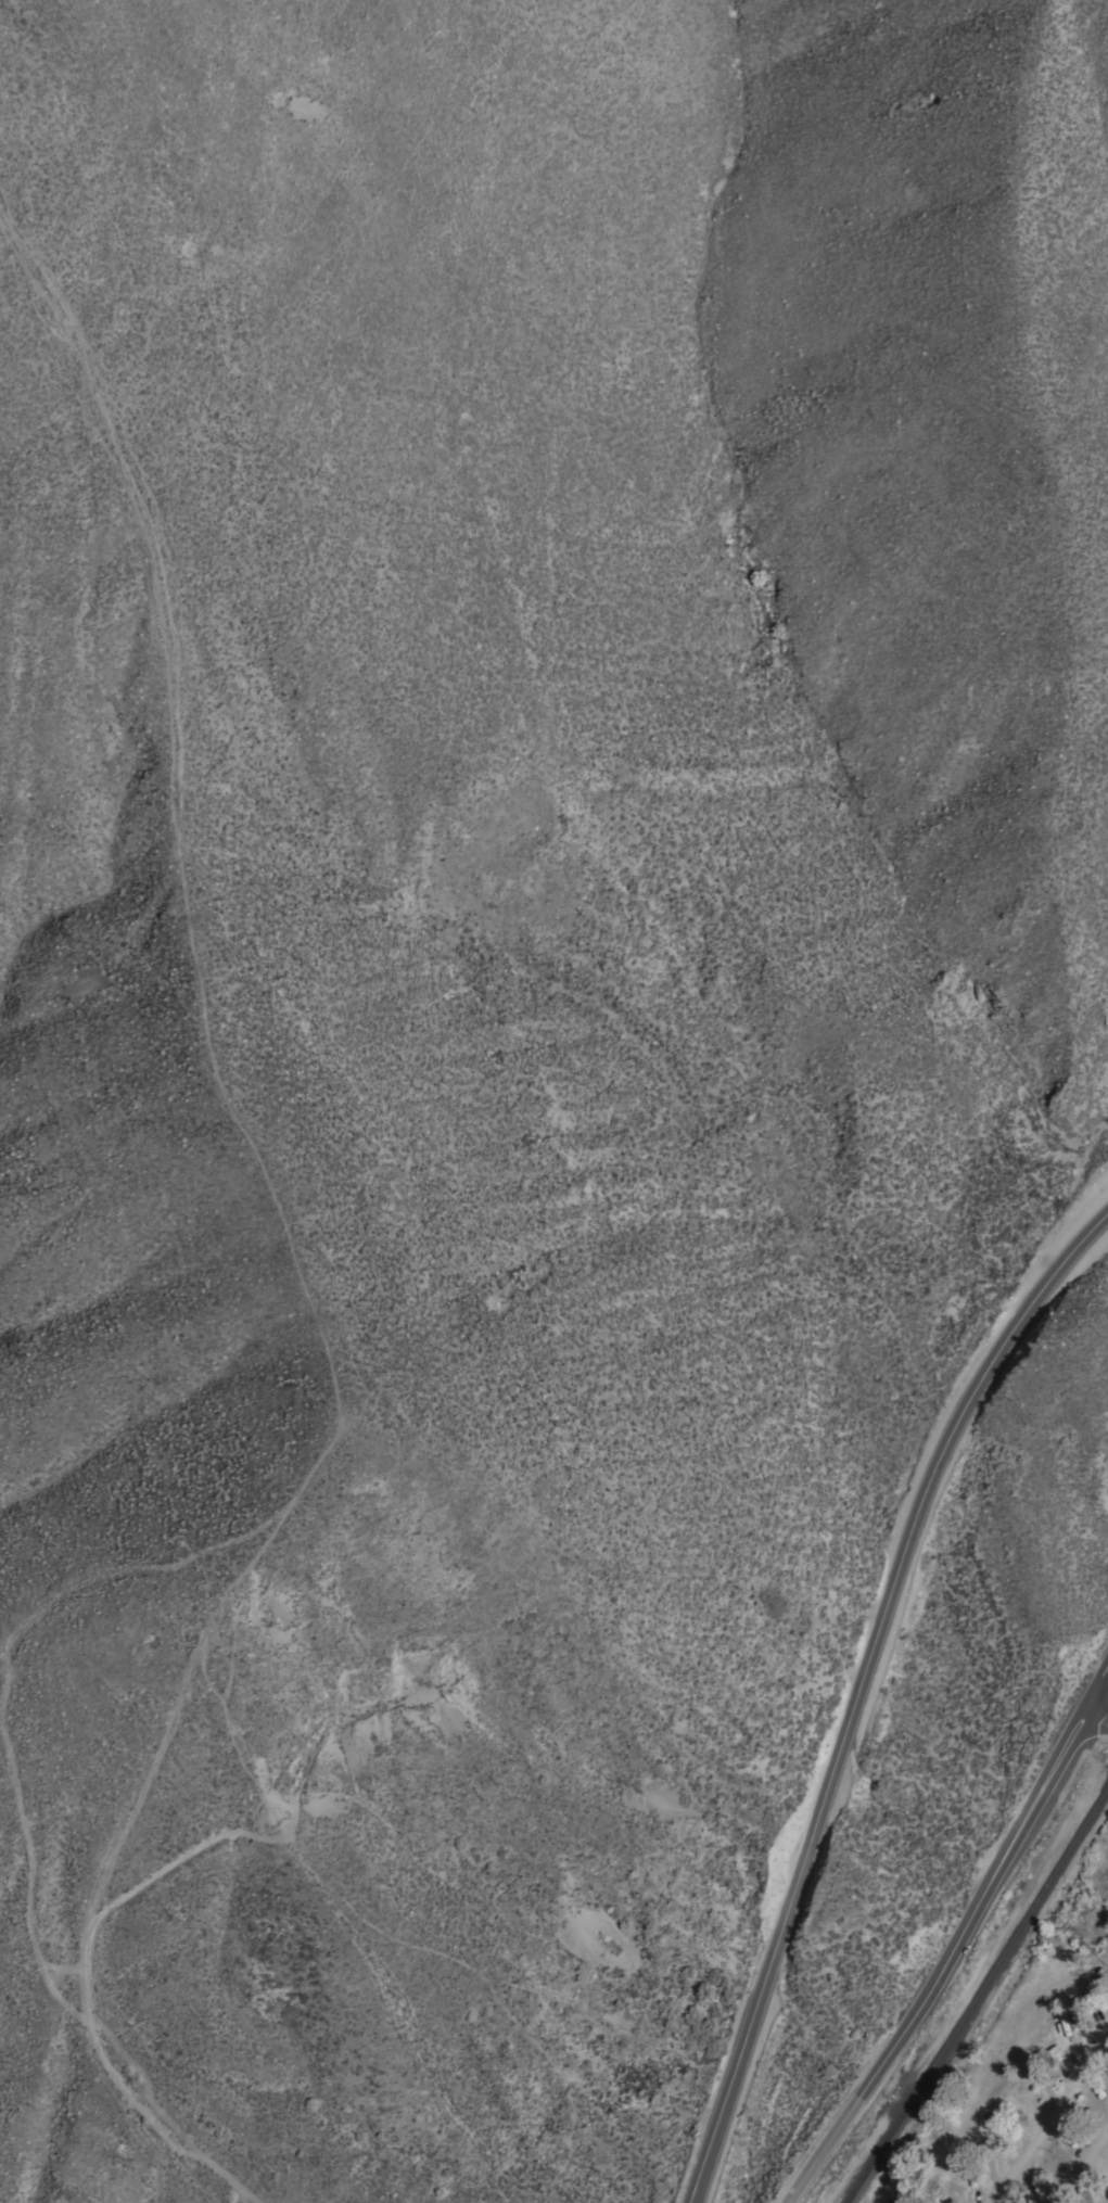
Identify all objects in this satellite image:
road: (856, 1689)
road: (1106, 1689)
road: (1100, 1711)
road: (956, 1945)
railway: (978, 1999)
road: (1048, 2122)
road: (1080, 2164)

